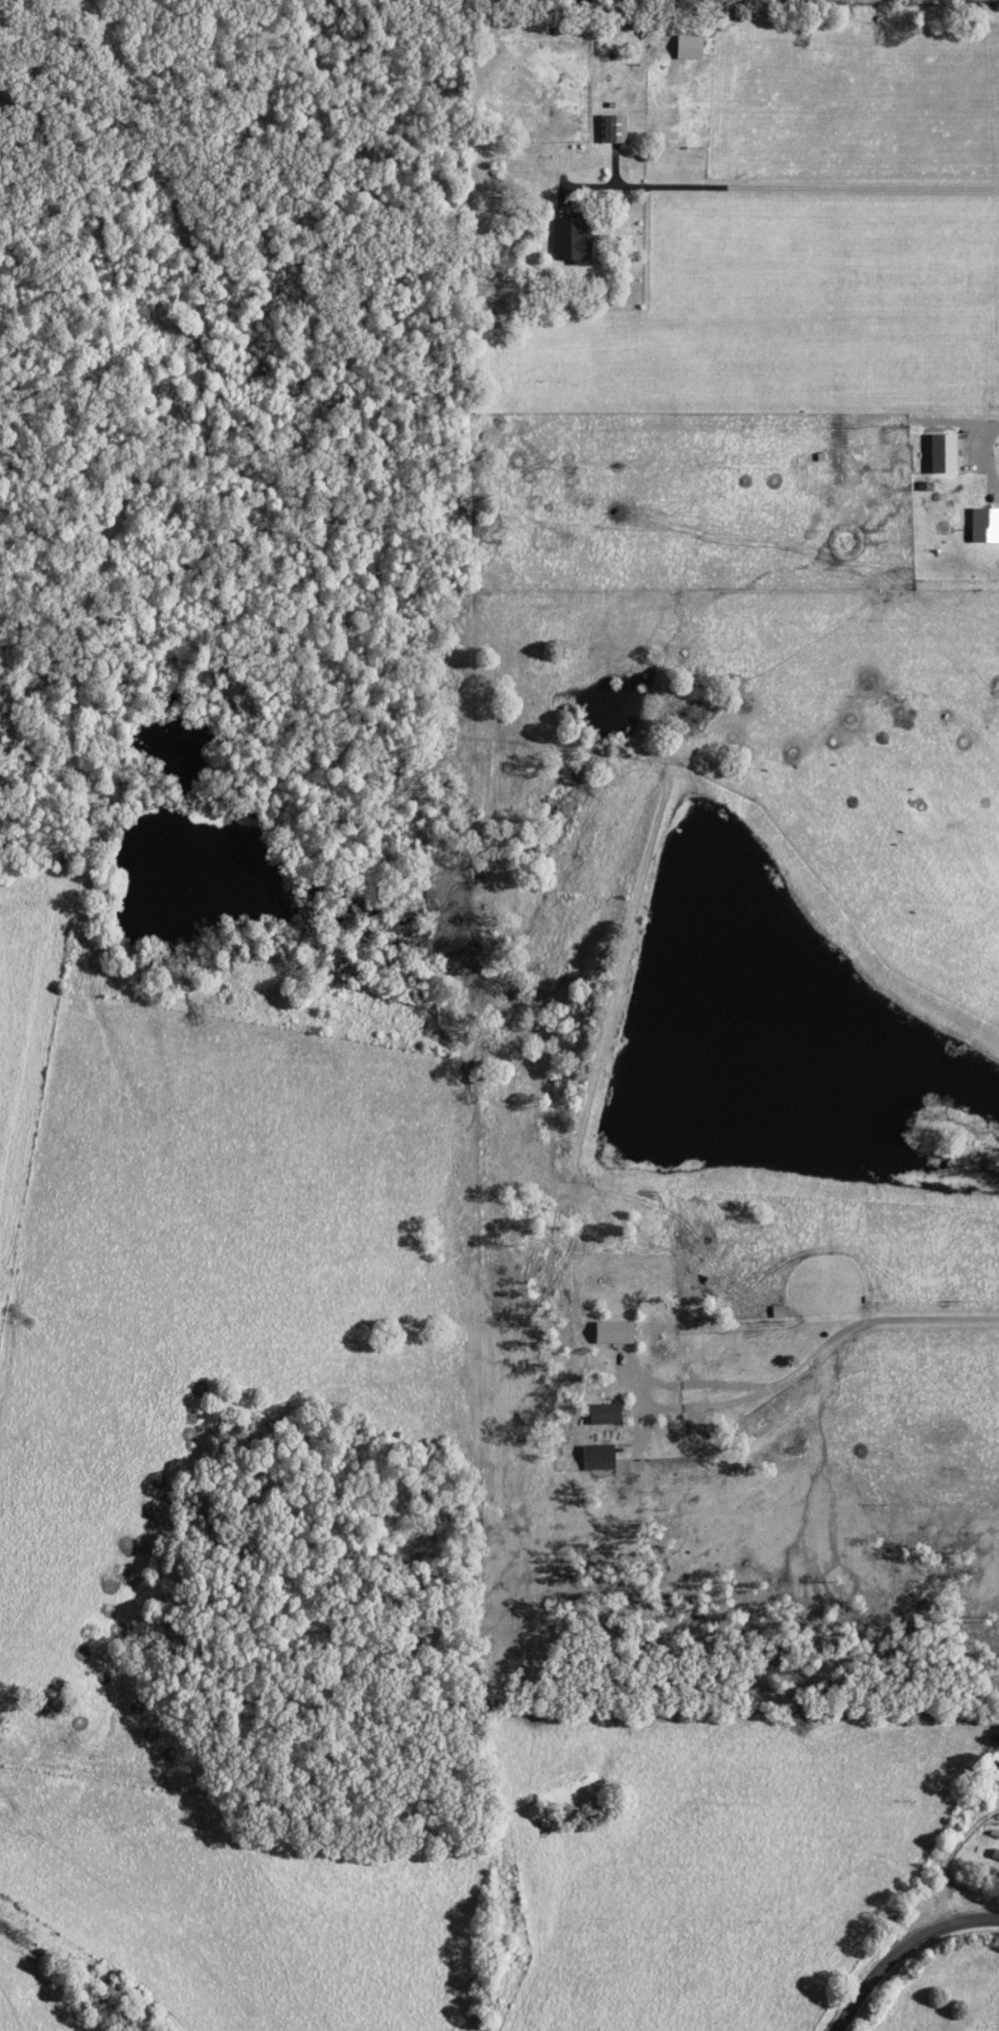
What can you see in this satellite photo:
building: (688, 48)
building: (613, 130)
road: (809, 183)
building: (571, 241)
road: (982, 425)
building: (943, 455)
building: (984, 527)
building: (613, 1333)
building: (604, 1414)
building: (598, 1458)
building: (995, 1855)
road: (947, 1856)
road: (904, 1949)

